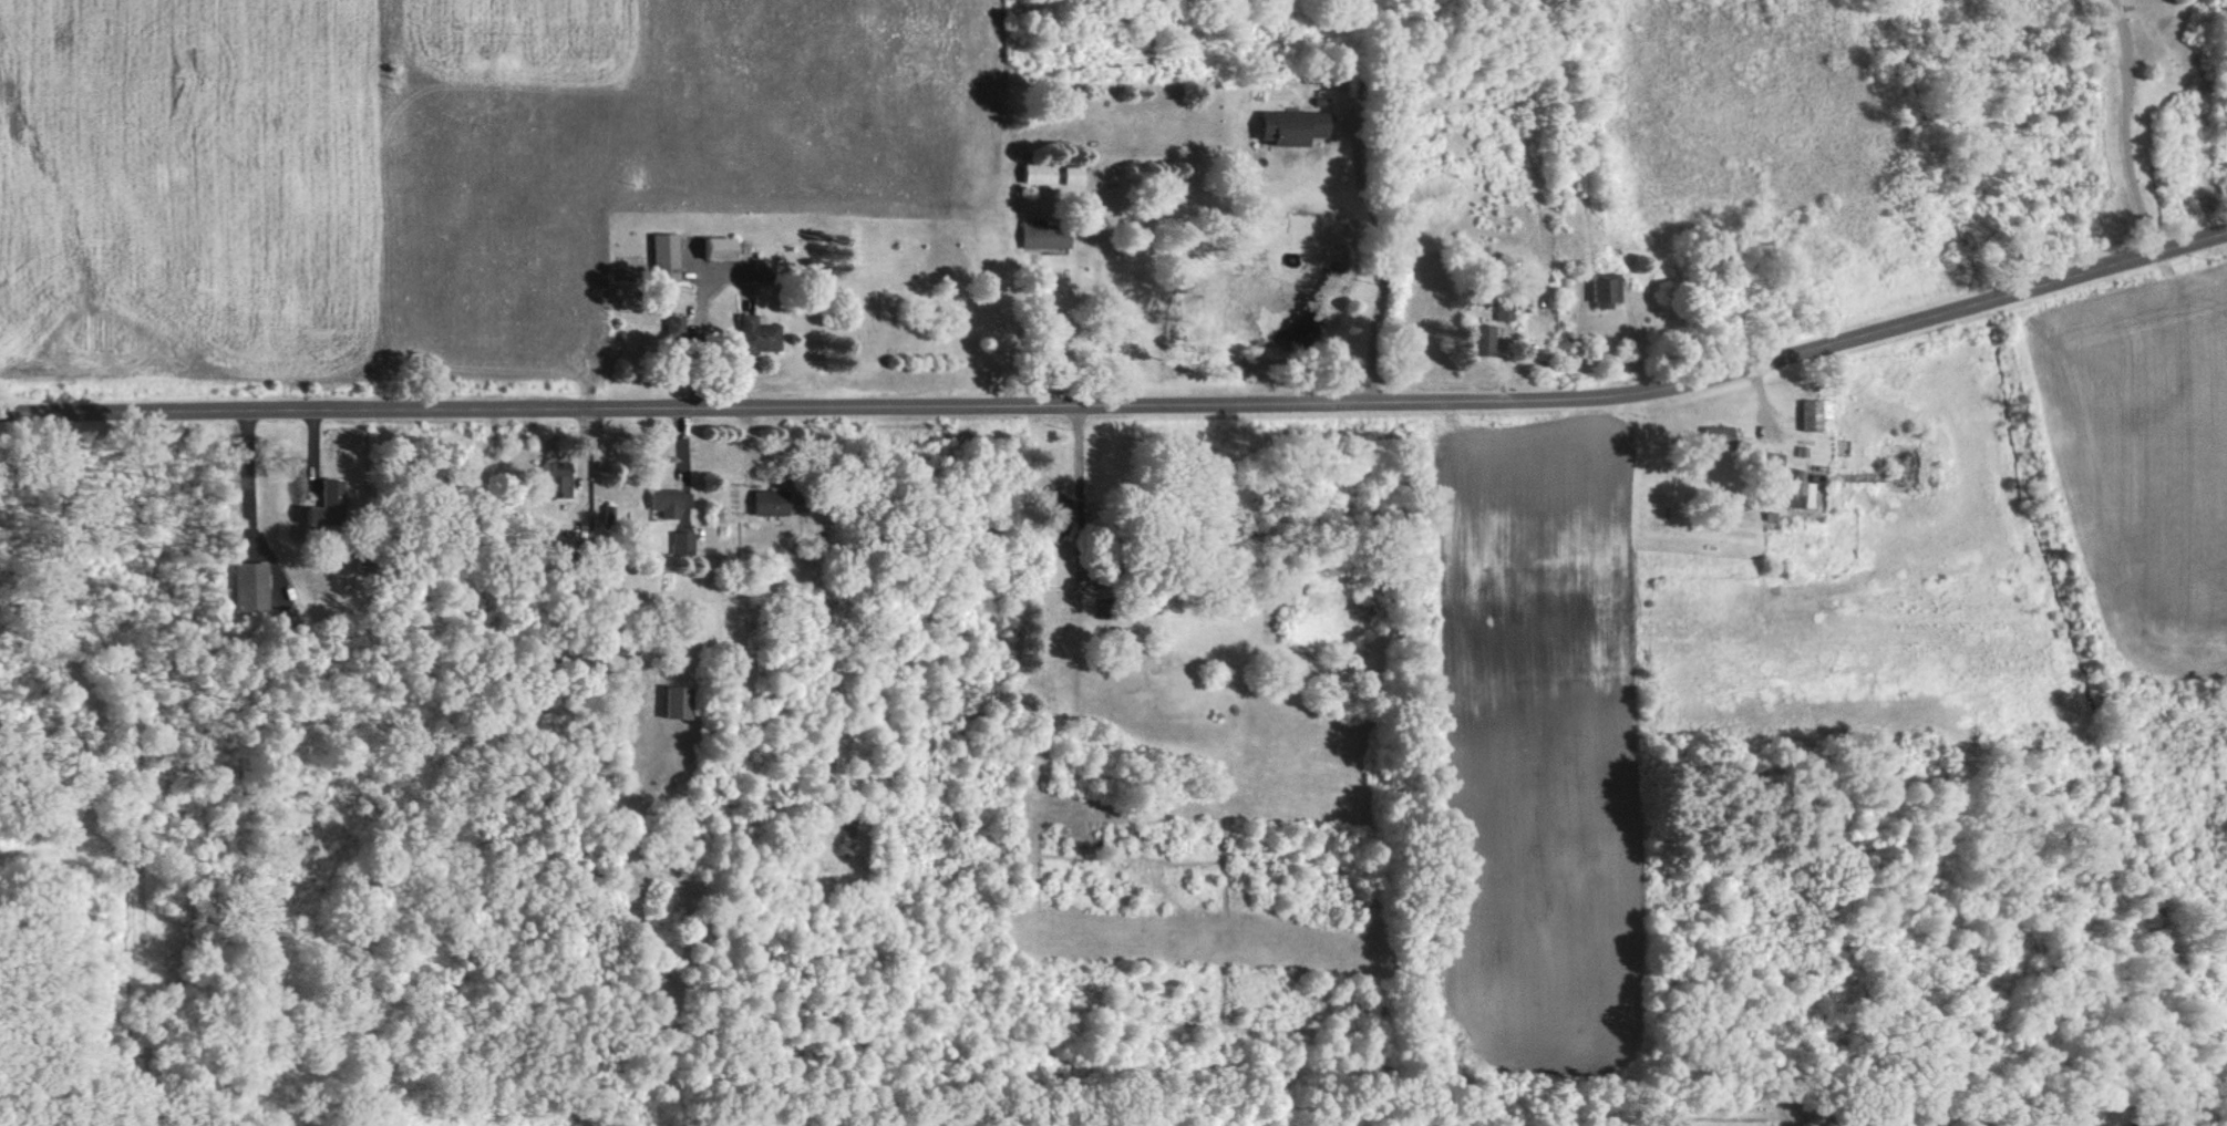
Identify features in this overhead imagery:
building: (1301, 126)
road: (2141, 127)
building: (1048, 173)
building: (1081, 175)
building: (1052, 236)
building: (720, 247)
building: (668, 256)
road: (1395, 260)
building: (1608, 289)
building: (1509, 311)
road: (703, 318)
building: (676, 324)
road: (1044, 331)
building: (756, 334)
building: (1486, 339)
road: (1124, 403)
building: (1817, 413)
building: (1720, 436)
building: (1773, 459)
road: (1084, 472)
building: (559, 475)
road: (252, 481)
building: (1803, 489)
building: (668, 502)
building: (767, 502)
building: (321, 504)
building: (1064, 521)
building: (685, 541)
building: (1048, 565)
building: (250, 587)
building: (678, 702)

